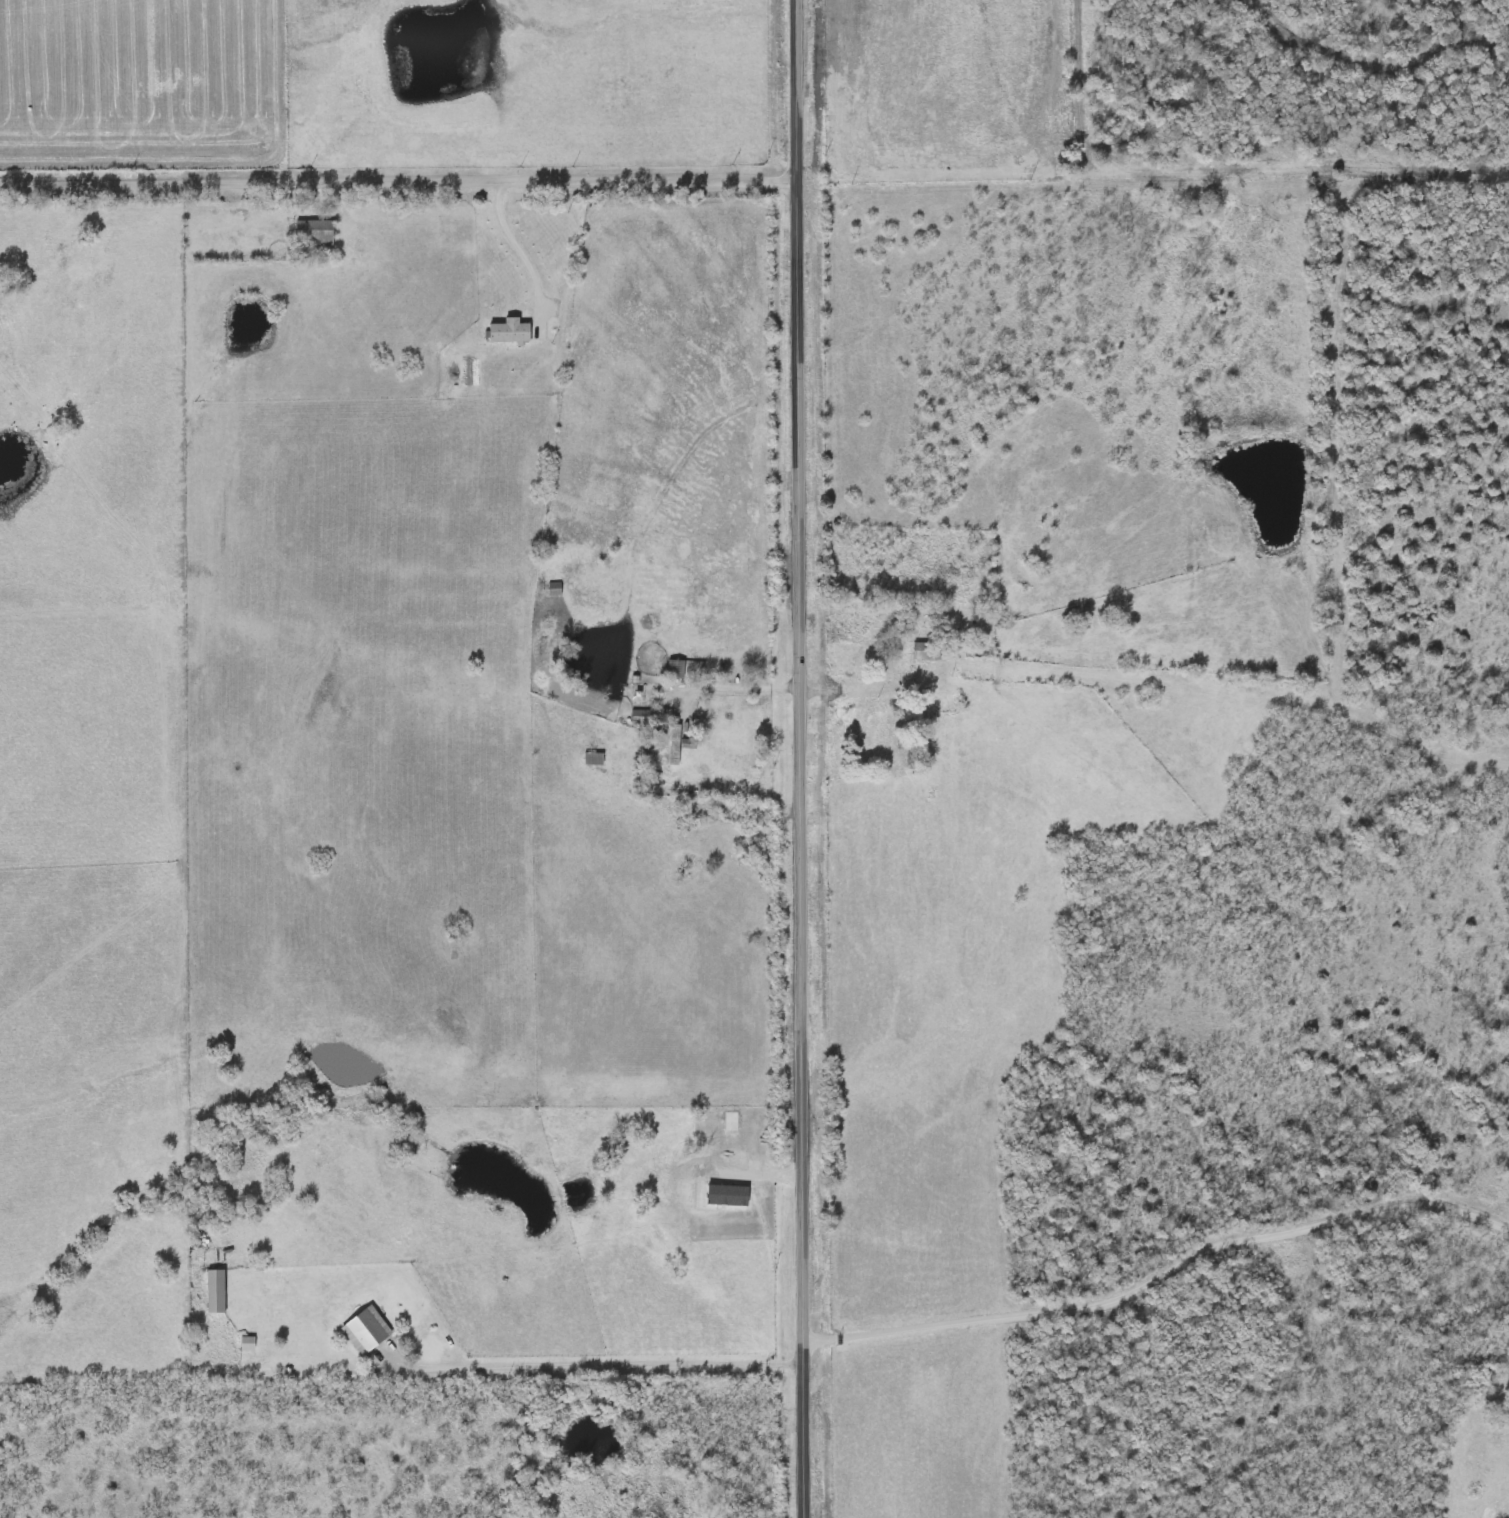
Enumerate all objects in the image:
road: (399, 181)
building: (314, 232)
road: (521, 253)
building: (967, 615)
building: (925, 650)
building: (674, 669)
road: (812, 690)
building: (642, 716)
building: (732, 728)
building: (882, 736)
building: (592, 758)
road: (799, 759)
road: (1159, 1279)
building: (214, 1290)
building: (365, 1329)
road: (595, 1366)

